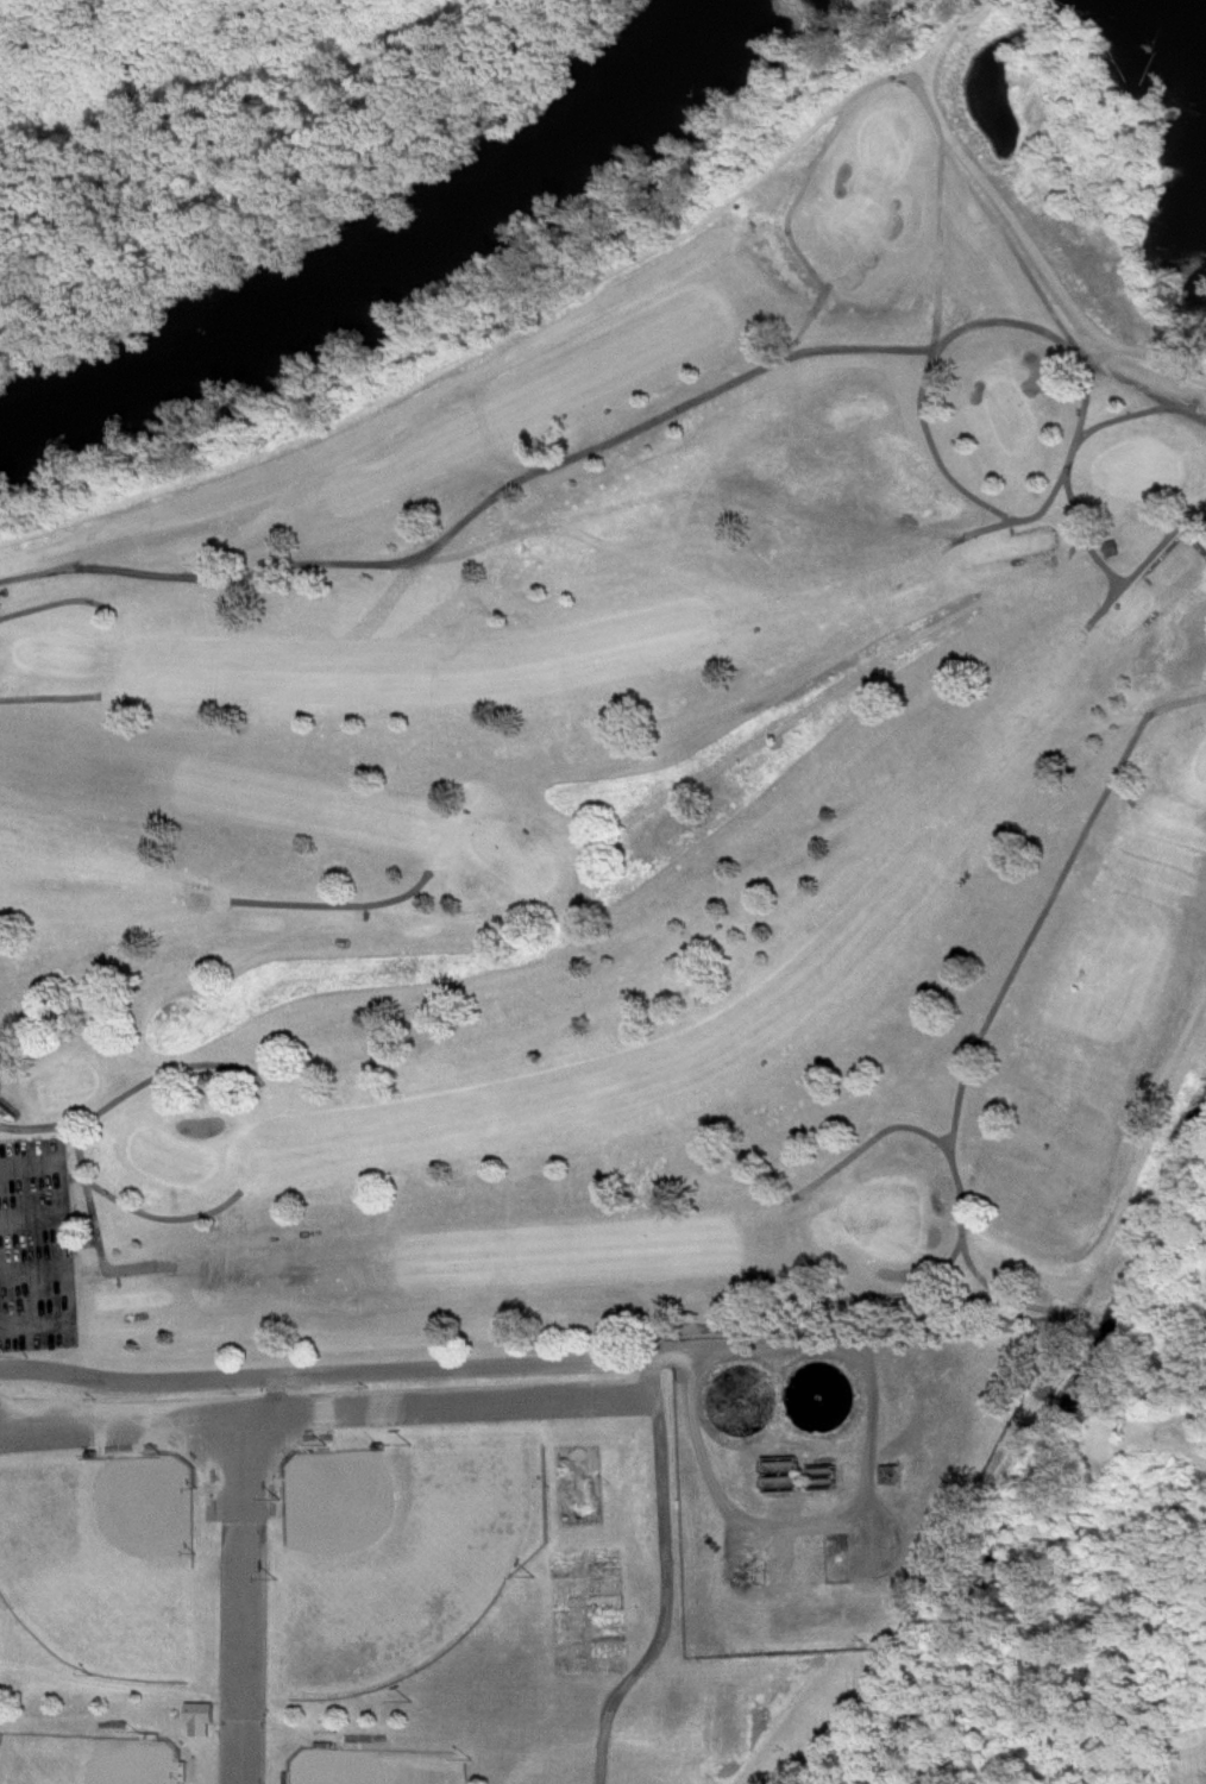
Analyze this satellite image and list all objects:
park: (892, 156)
river: (395, 271)
park: (1015, 426)
park: (1142, 479)
park: (65, 665)
park: (1204, 777)
park: (630, 831)
park: (519, 866)
building: (0, 1079)
park: (174, 1168)
park: (890, 1226)
road: (320, 1375)
road: (871, 1481)
park: (397, 1556)
park: (102, 1560)
road: (671, 1579)
park: (335, 1588)
parking lot: (243, 1595)
building: (1, 1686)
building: (205, 1727)
park: (1188, 1757)
park: (88, 1763)
park: (376, 1769)

